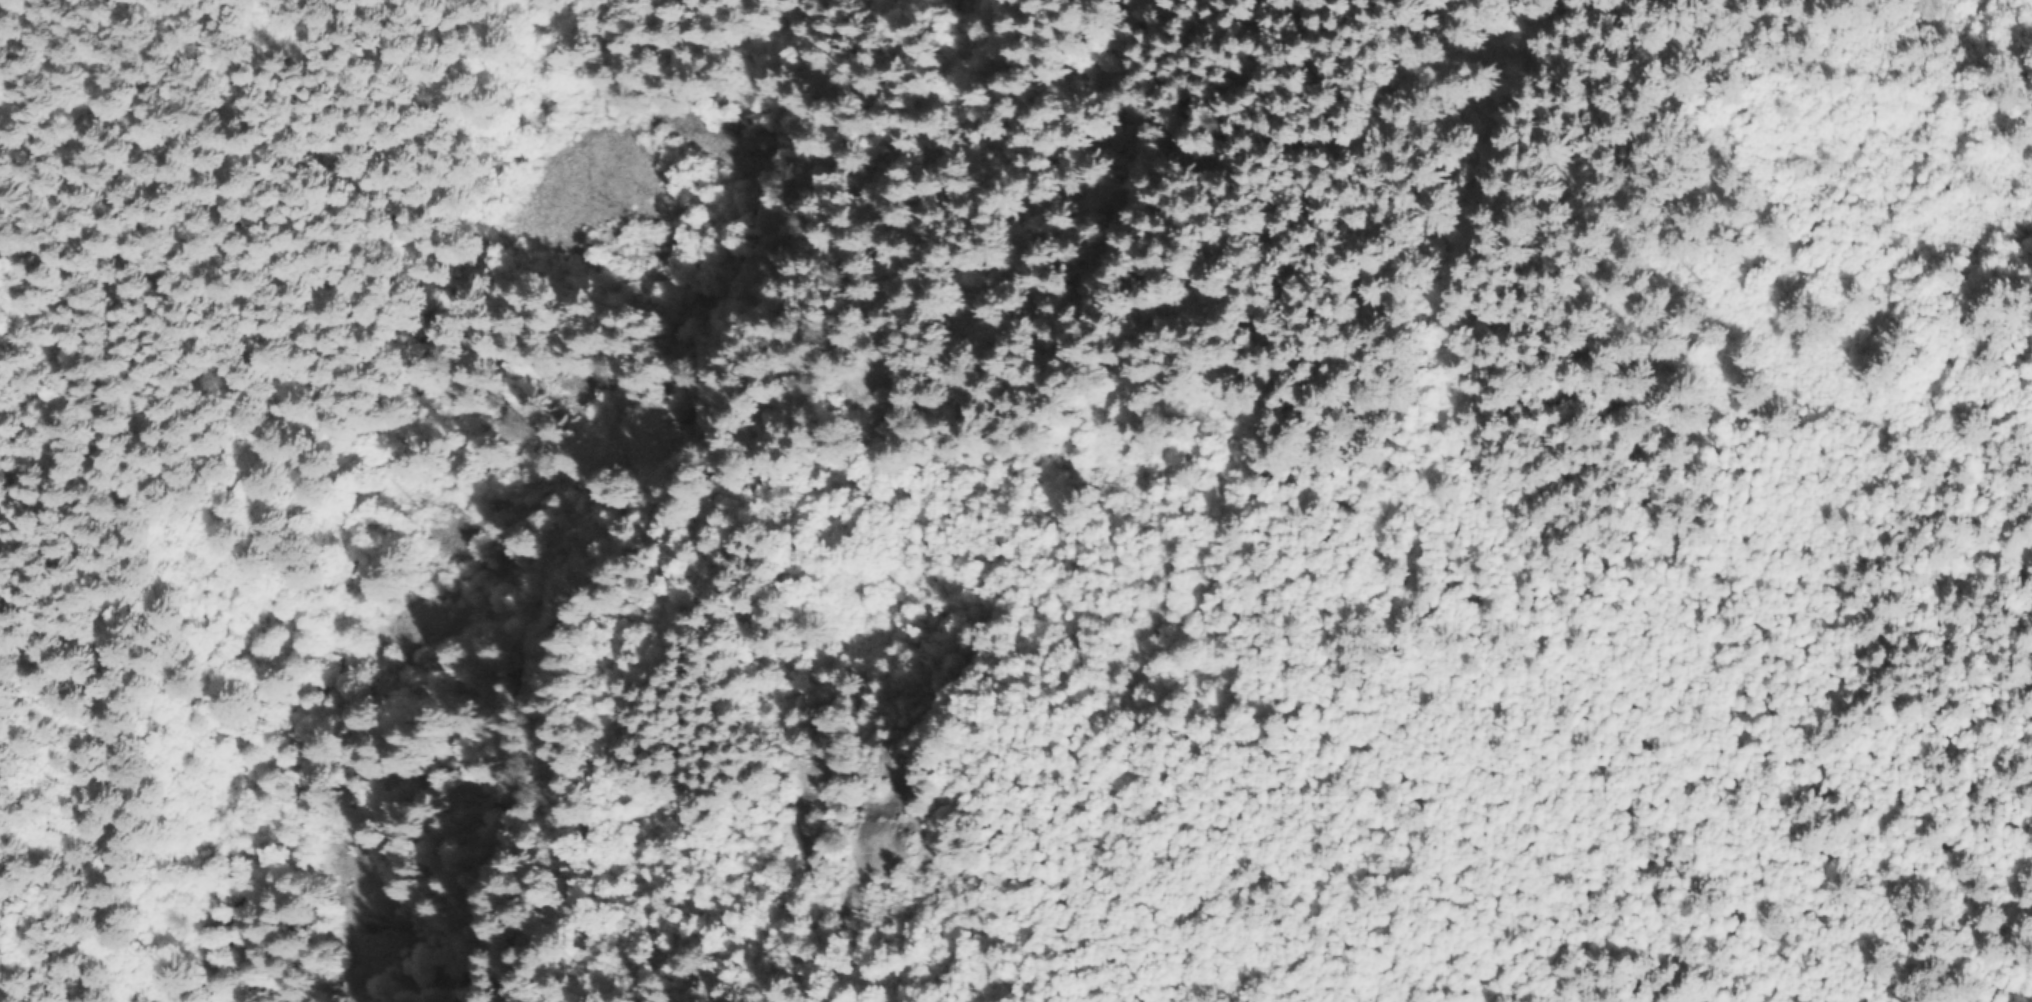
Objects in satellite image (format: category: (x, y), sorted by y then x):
road: (1431, 261)
road: (1723, 511)
road: (1407, 579)
road: (1294, 762)

